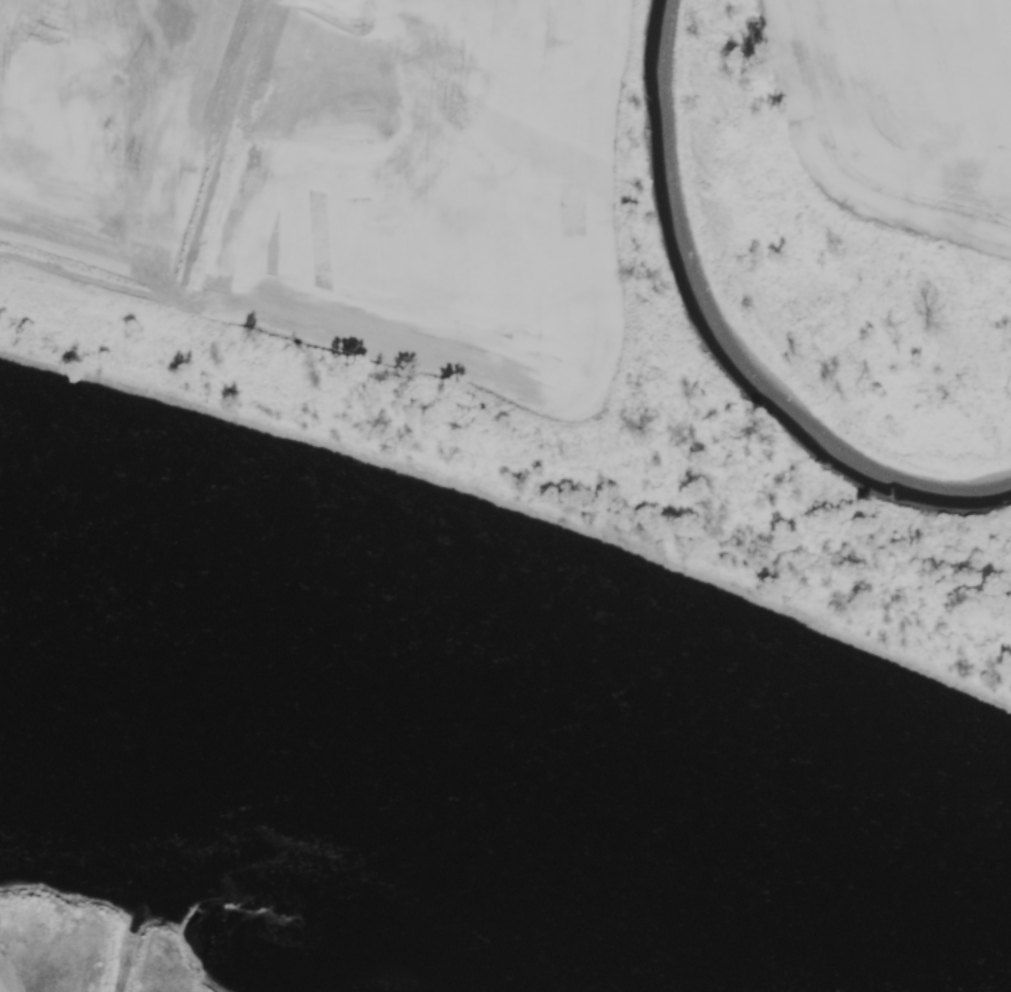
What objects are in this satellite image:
river: (730, 329)
river: (511, 776)

